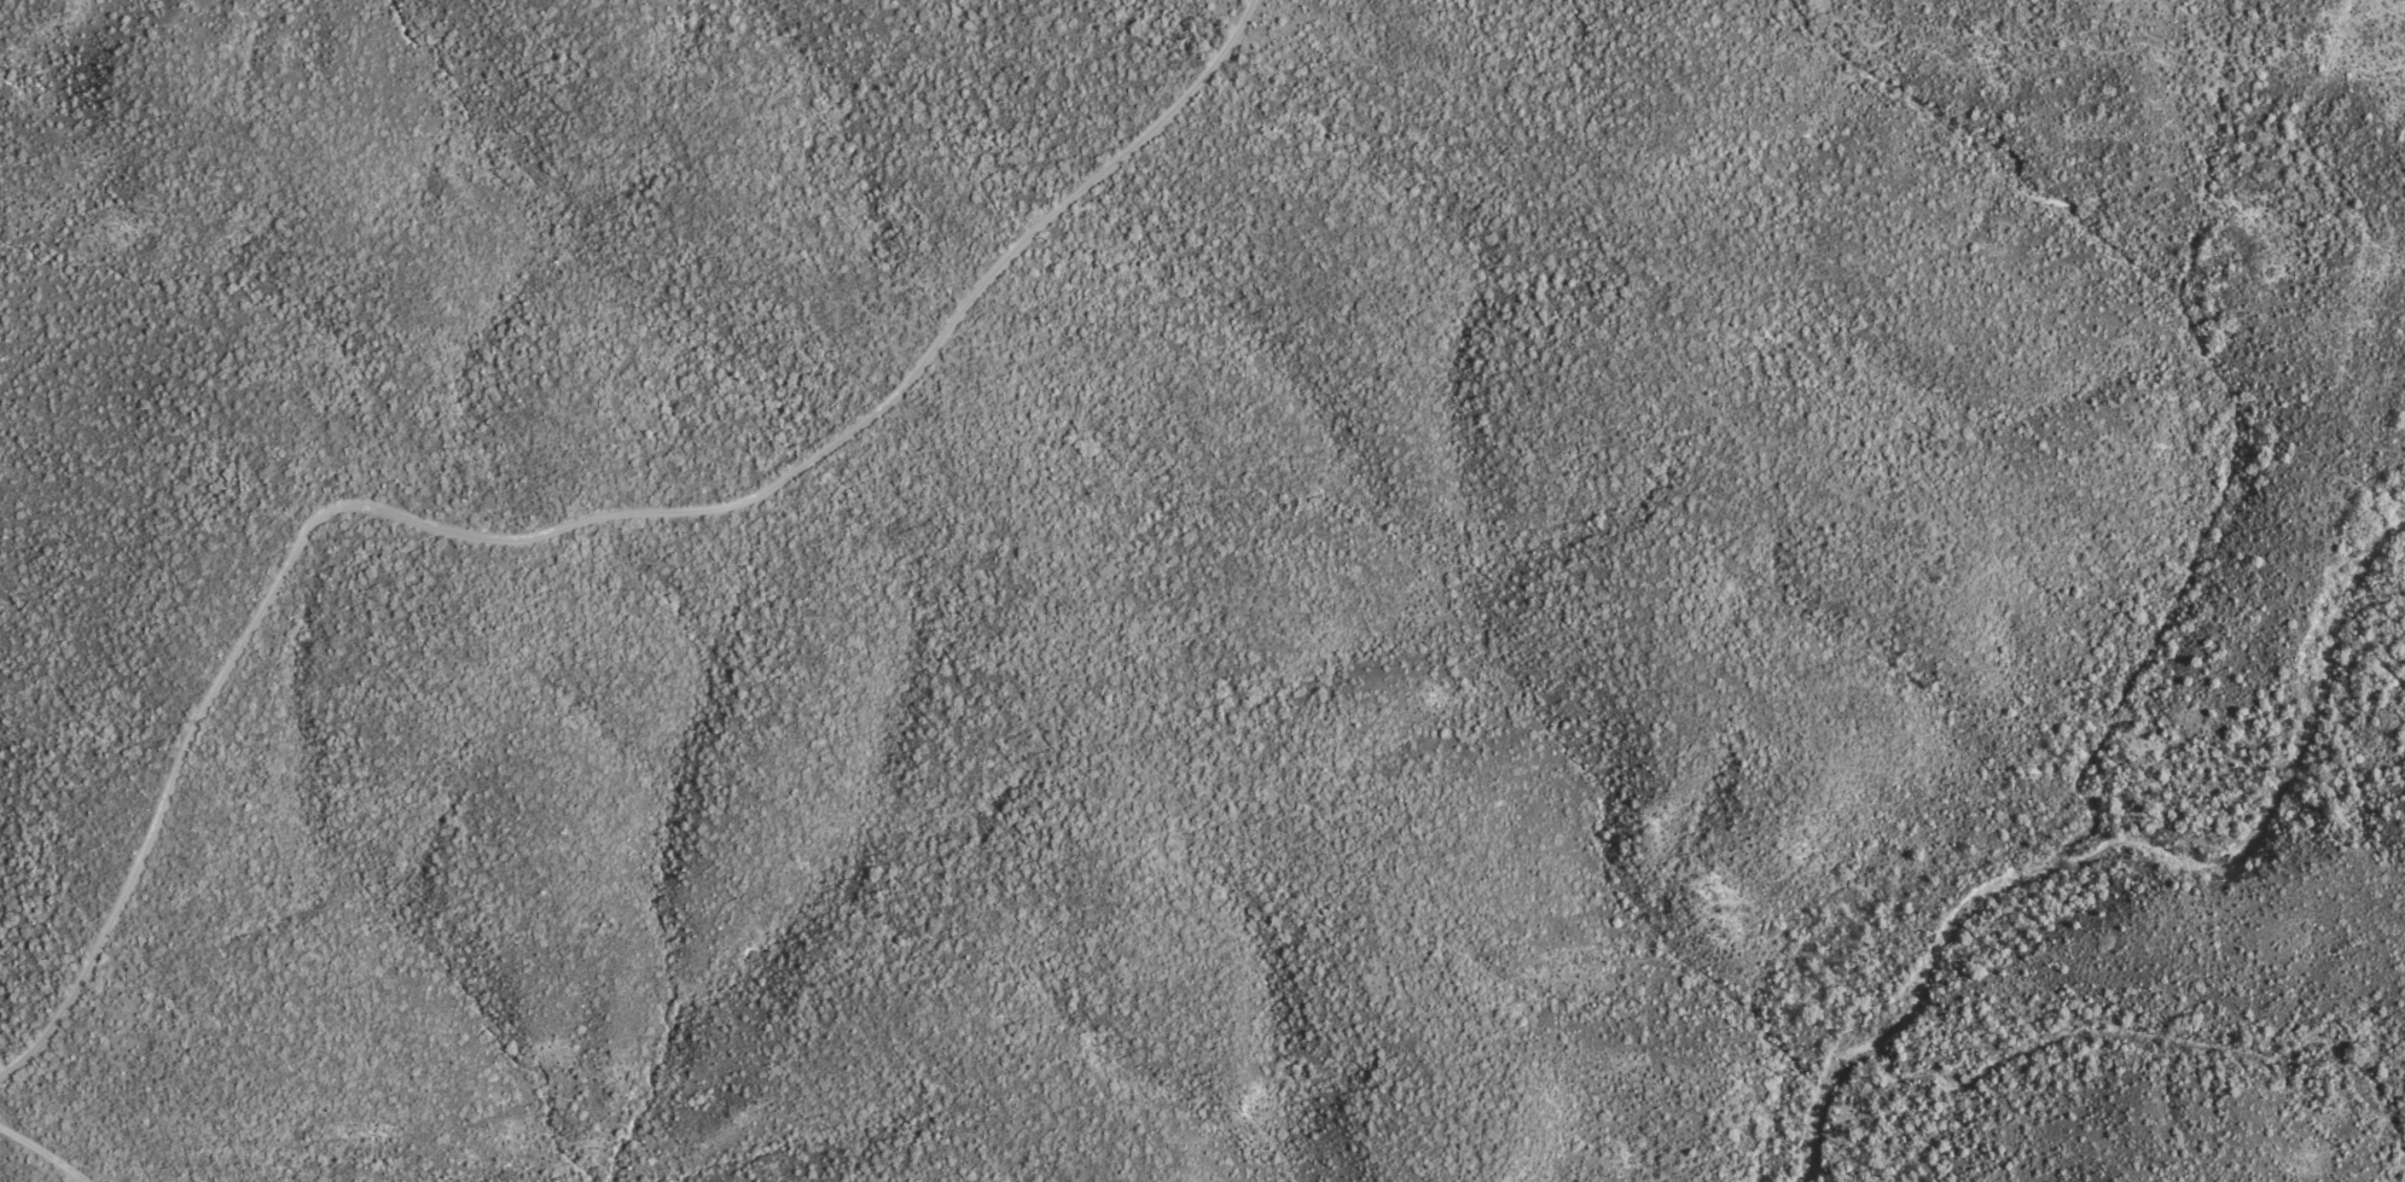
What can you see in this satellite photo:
road: (569, 525)

